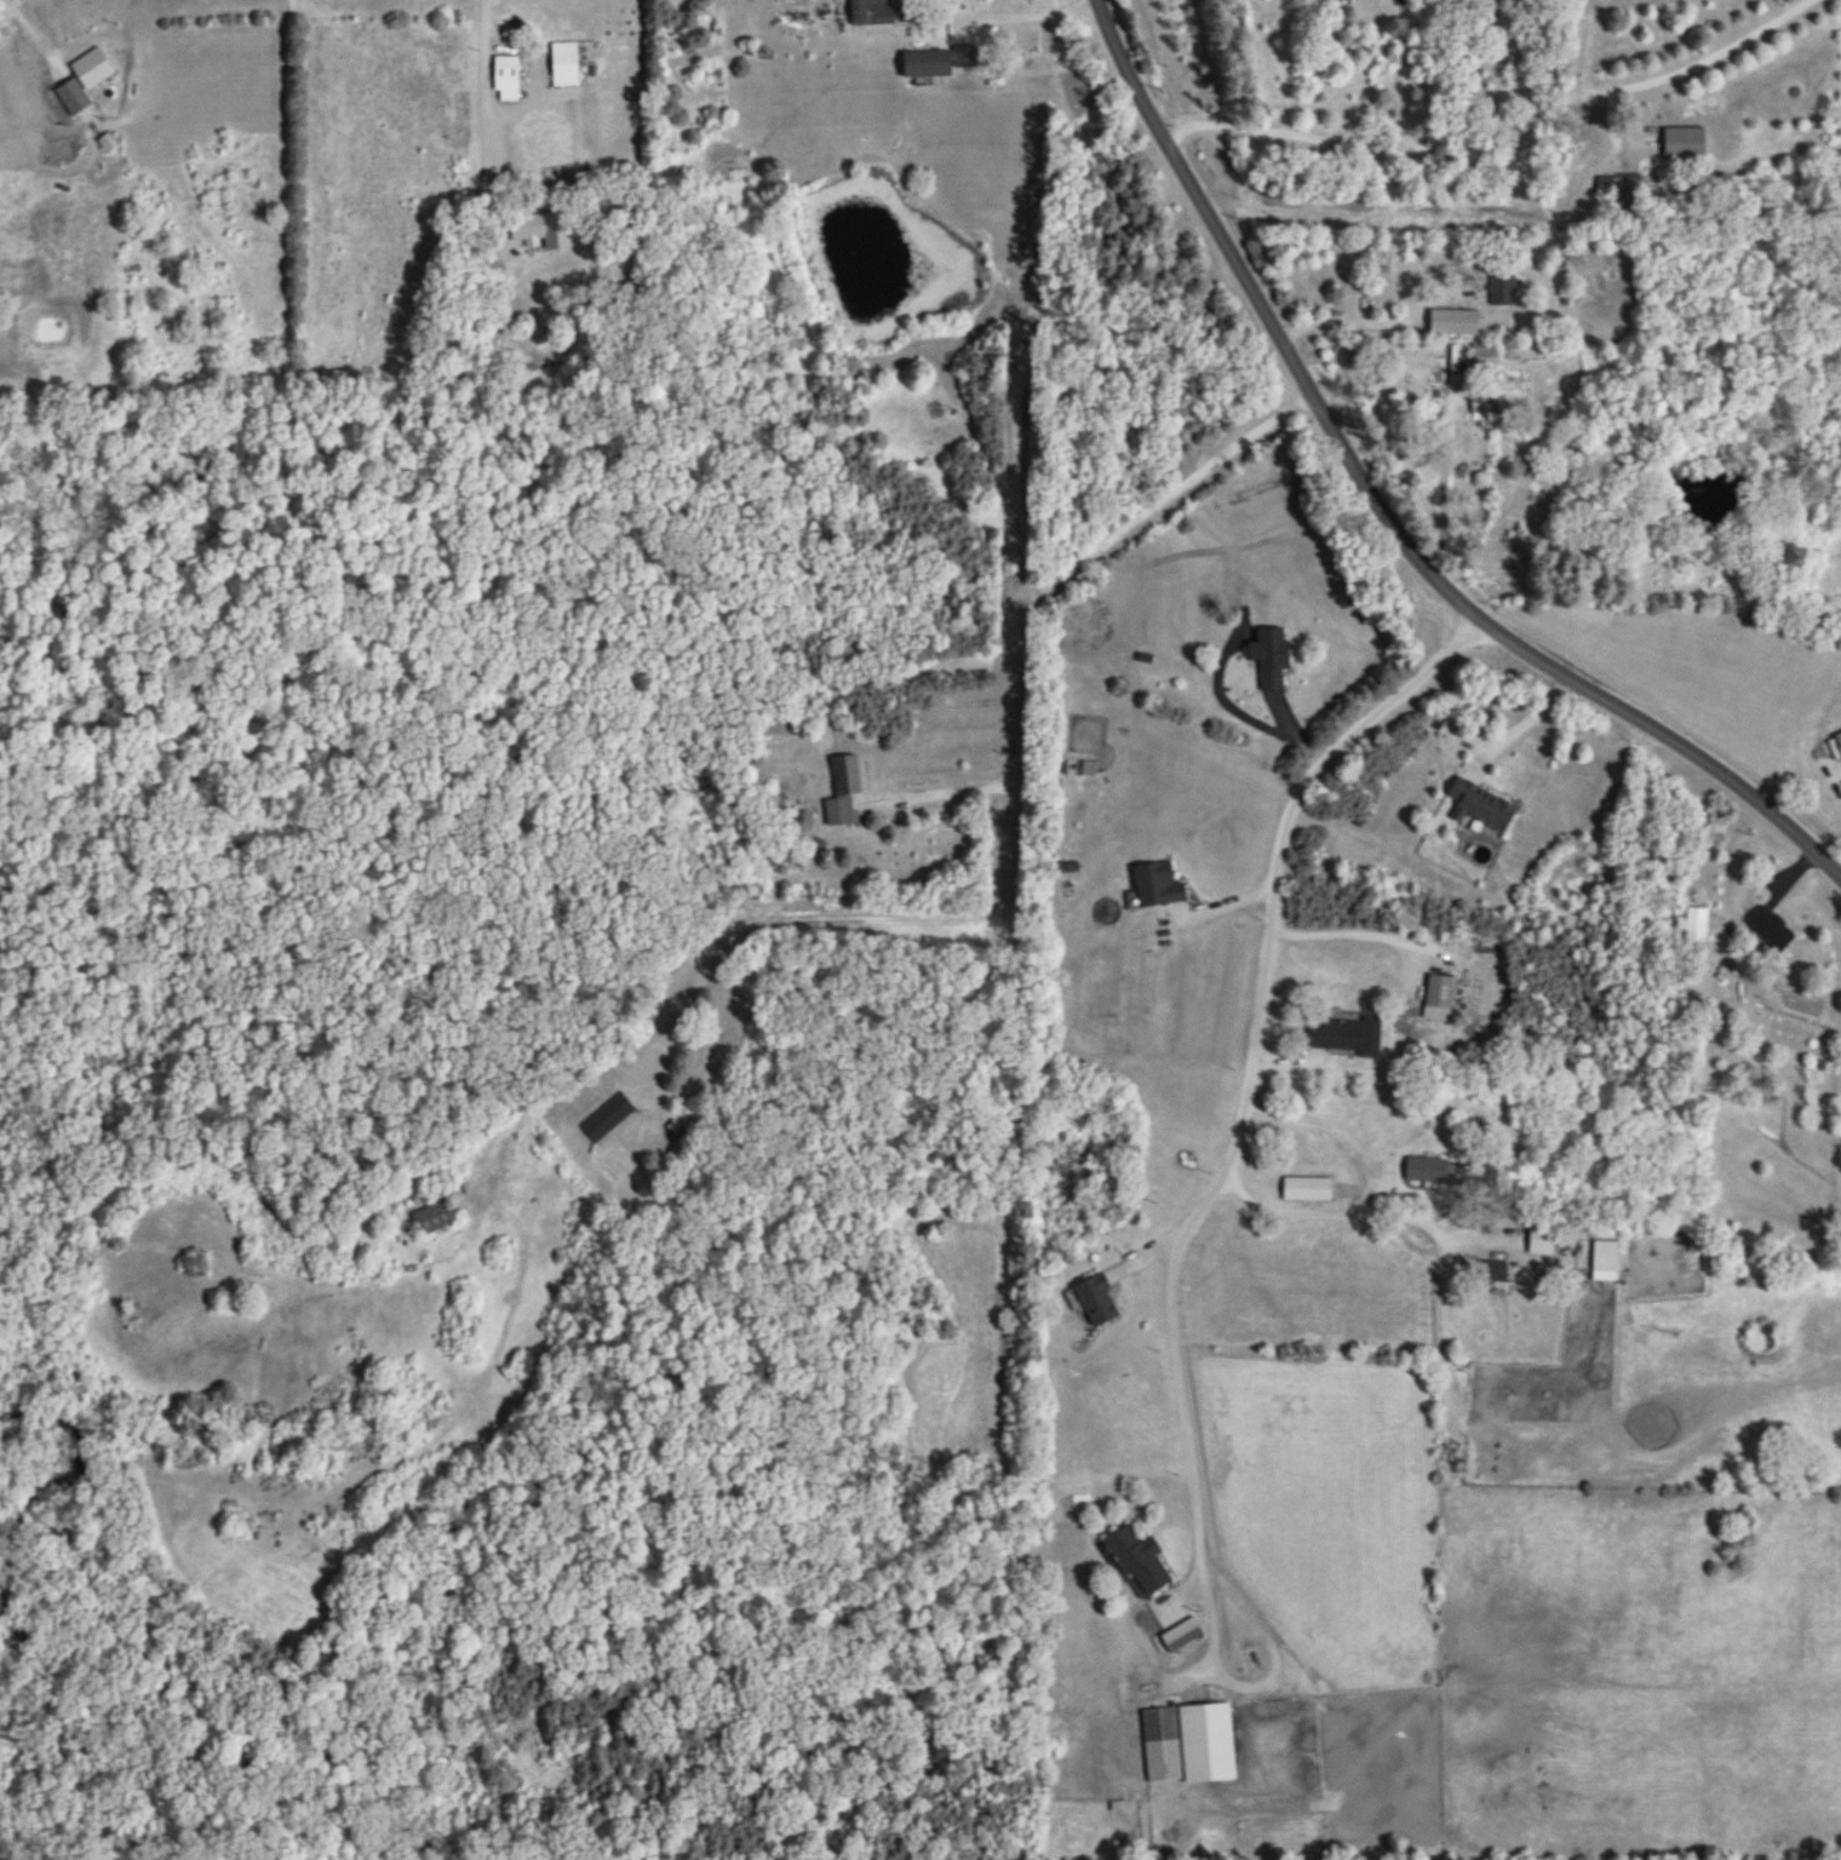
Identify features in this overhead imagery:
building: (870, 13)
road: (1026, 16)
road: (35, 31)
road: (1487, 35)
road: (1466, 38)
building: (934, 64)
building: (564, 67)
building: (505, 80)
road: (484, 86)
road: (1497, 87)
road: (1493, 110)
building: (1684, 147)
road: (1404, 218)
building: (528, 234)
building: (1502, 293)
road: (1364, 323)
building: (1484, 361)
road: (1444, 488)
road: (1382, 515)
building: (1269, 659)
road: (1522, 728)
road: (1463, 744)
building: (1837, 744)
building: (842, 793)
road: (940, 796)
building: (1479, 806)
road: (1280, 863)
building: (1155, 885)
road: (1002, 908)
building: (1699, 925)
building: (1770, 930)
road: (1348, 937)
building: (1439, 993)
building: (1347, 1038)
building: (607, 1120)
building: (1424, 1170)
road: (1361, 1187)
building: (1306, 1190)
road: (1405, 1216)
building: (434, 1221)
building: (1541, 1242)
building: (1605, 1257)
building: (1493, 1271)
building: (1096, 1301)
road: (1192, 1448)
building: (1136, 1560)
building: (1182, 1636)
building: (1188, 1745)

